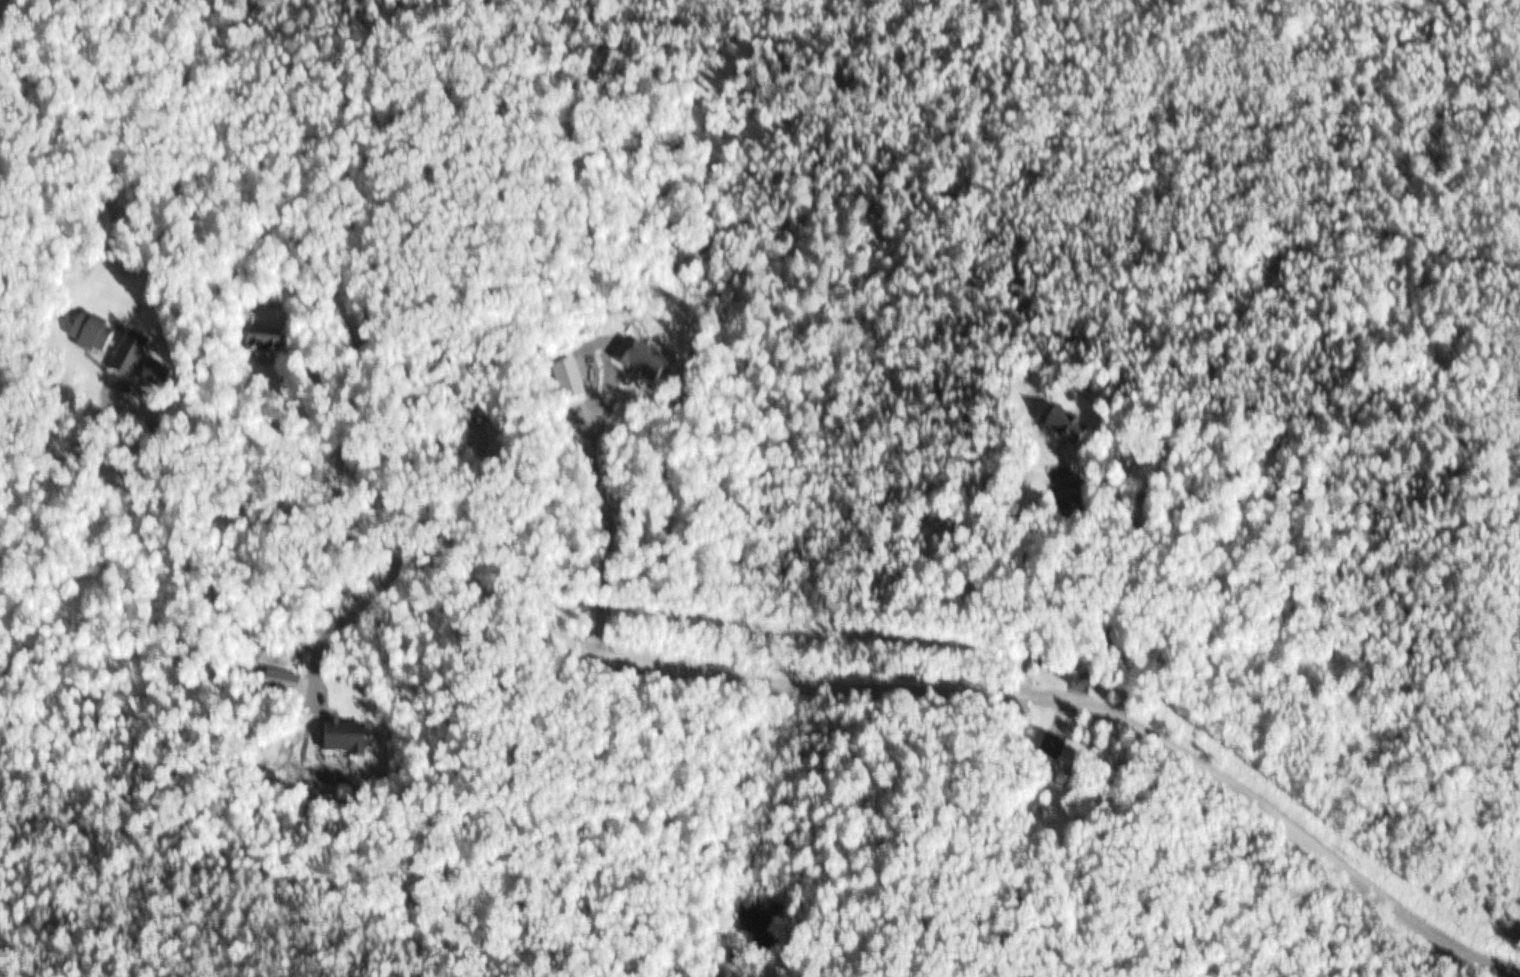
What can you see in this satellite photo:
building: (99, 338)
building: (270, 345)
building: (130, 365)
road: (347, 382)
building: (1076, 434)
building: (1077, 511)
building: (297, 689)
road: (767, 699)
building: (351, 744)
building: (1081, 760)

